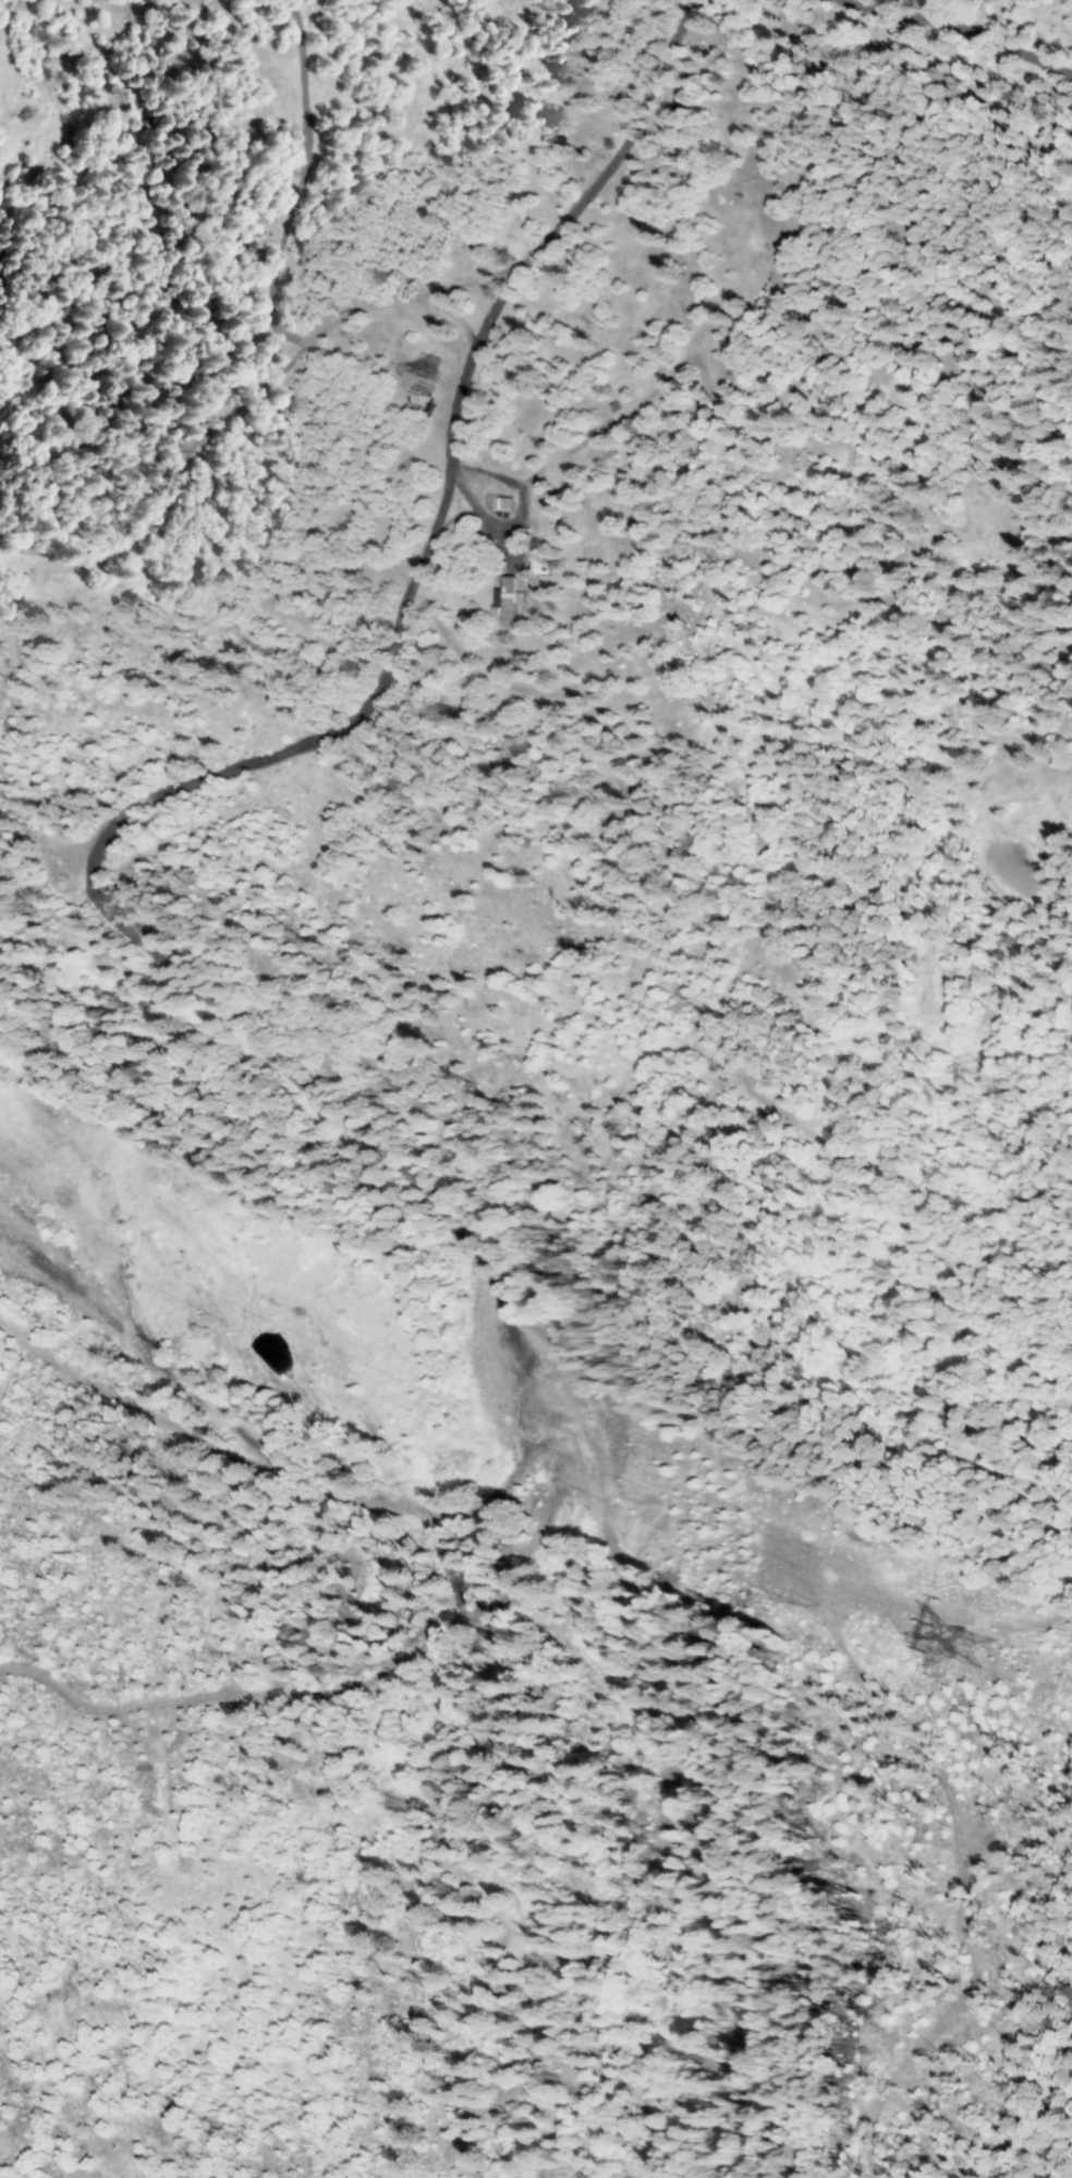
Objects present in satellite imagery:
building: (510, 600)
power tower: (978, 1639)

